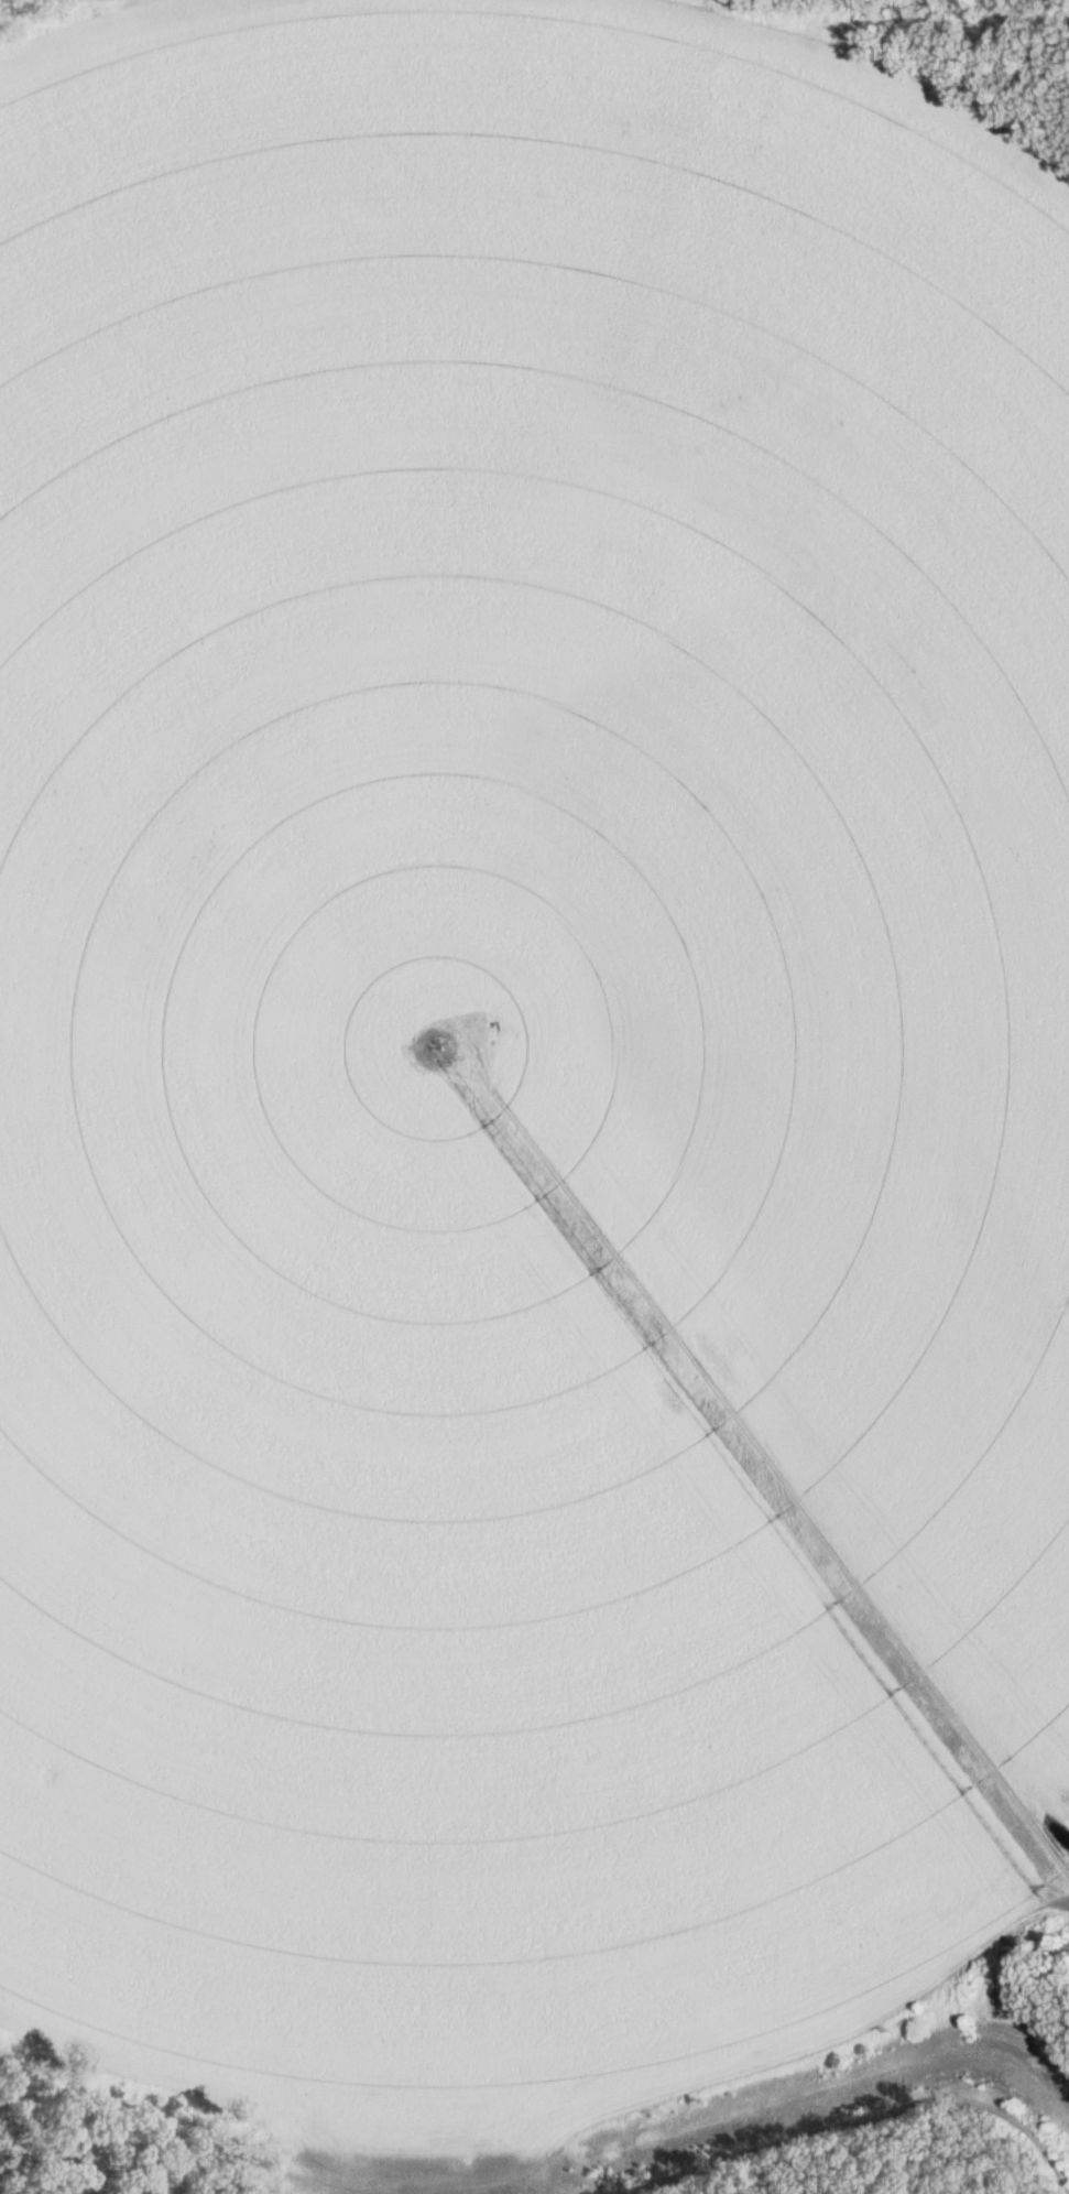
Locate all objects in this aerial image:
road: (951, 15)

